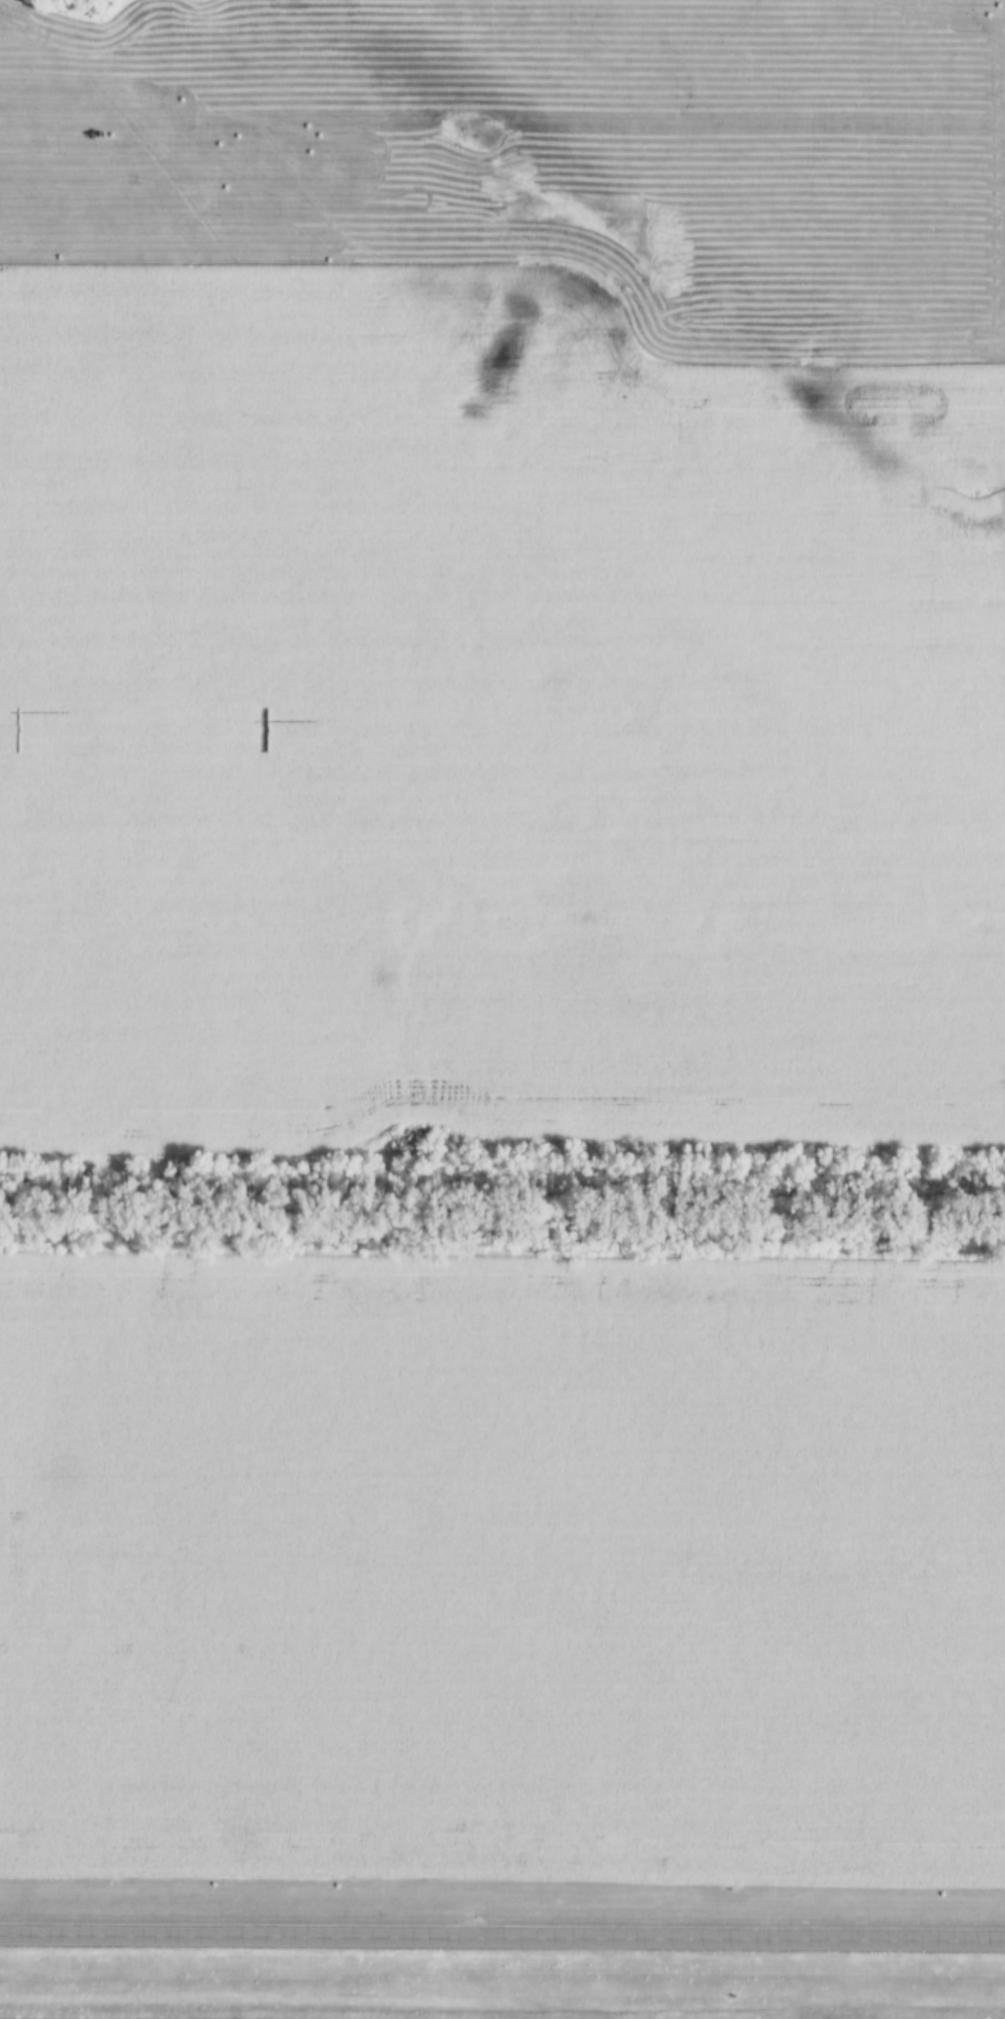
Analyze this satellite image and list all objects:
road: (502, 1941)

